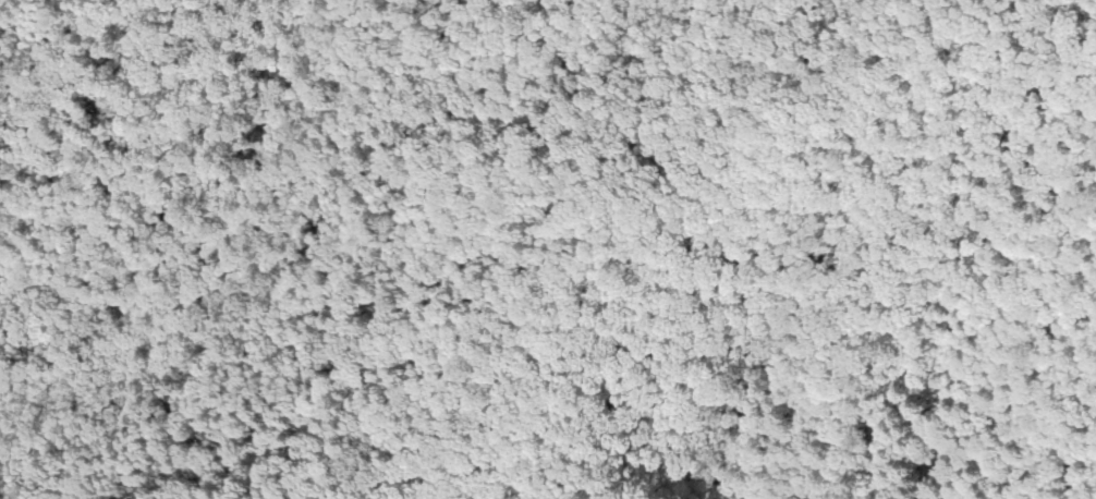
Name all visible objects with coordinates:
road: (1037, 5)

